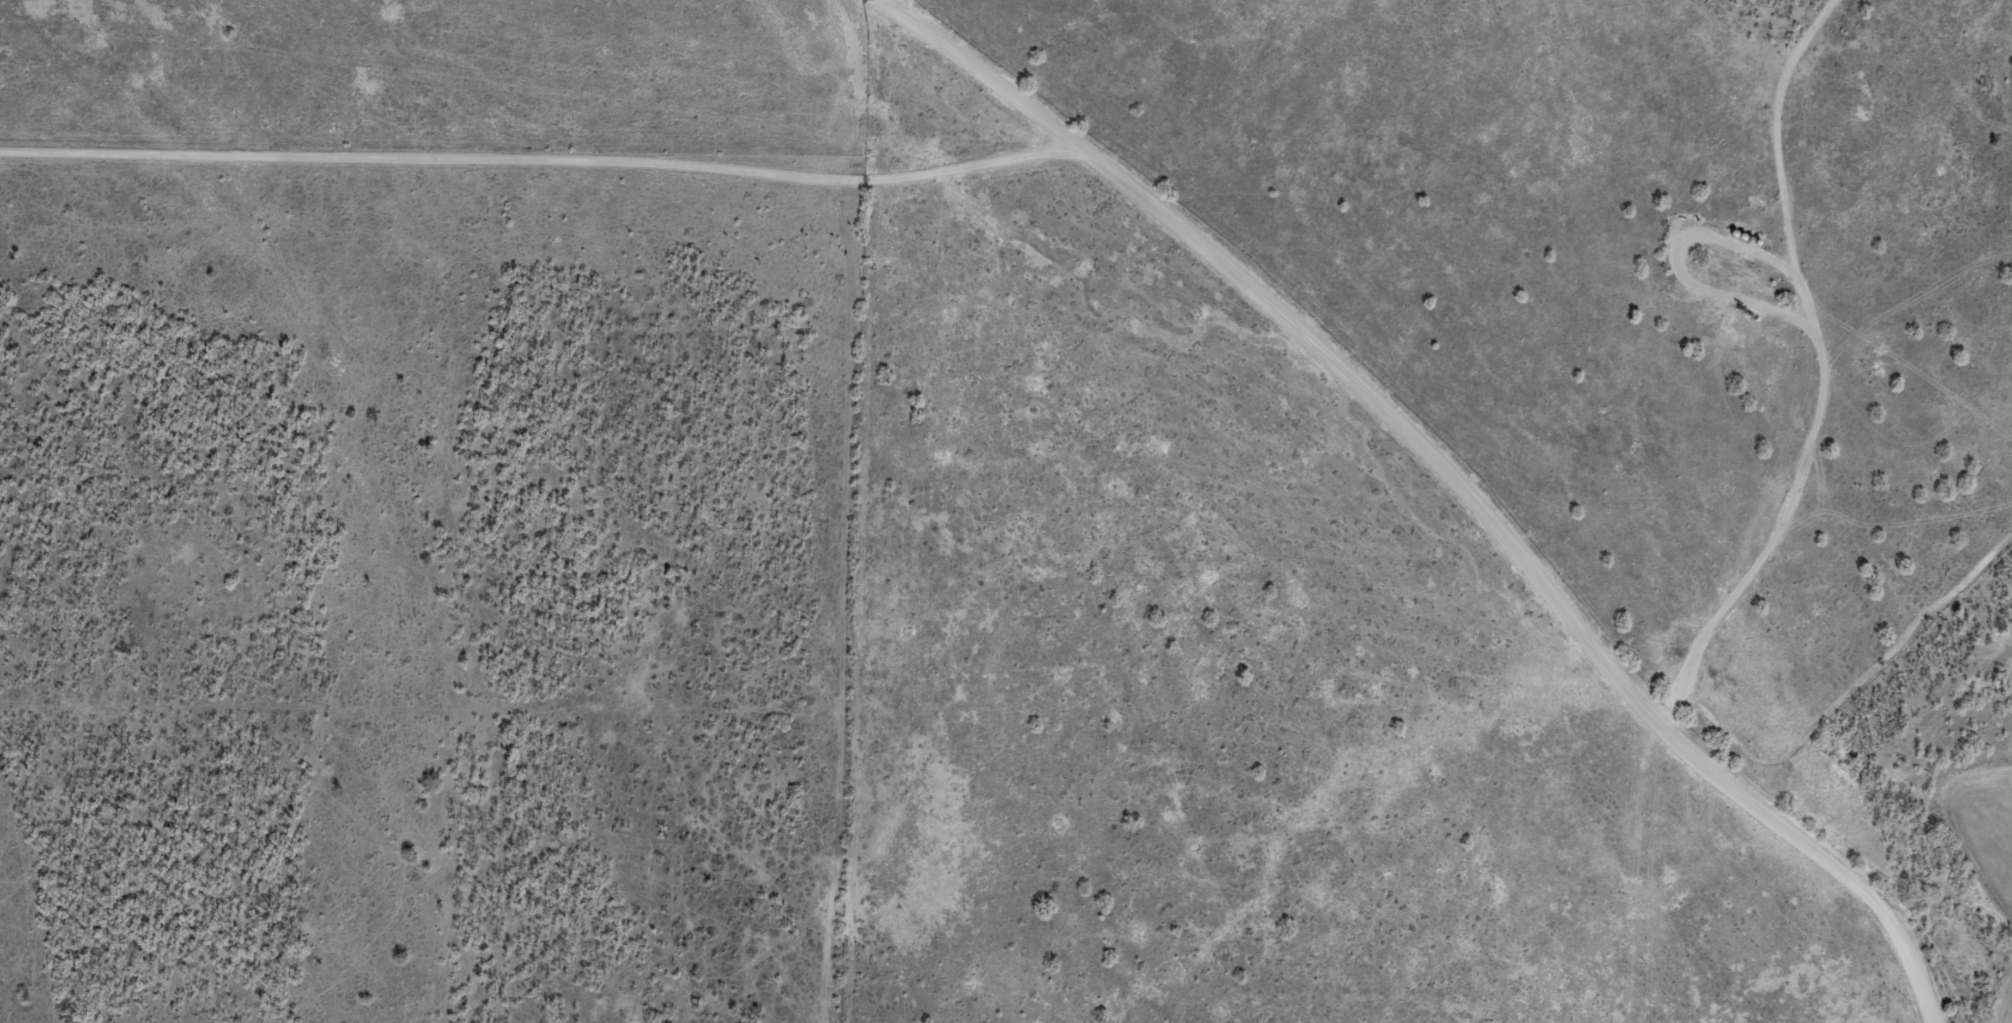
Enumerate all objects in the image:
road: (1257, 317)
road: (1779, 357)
road: (1812, 845)

